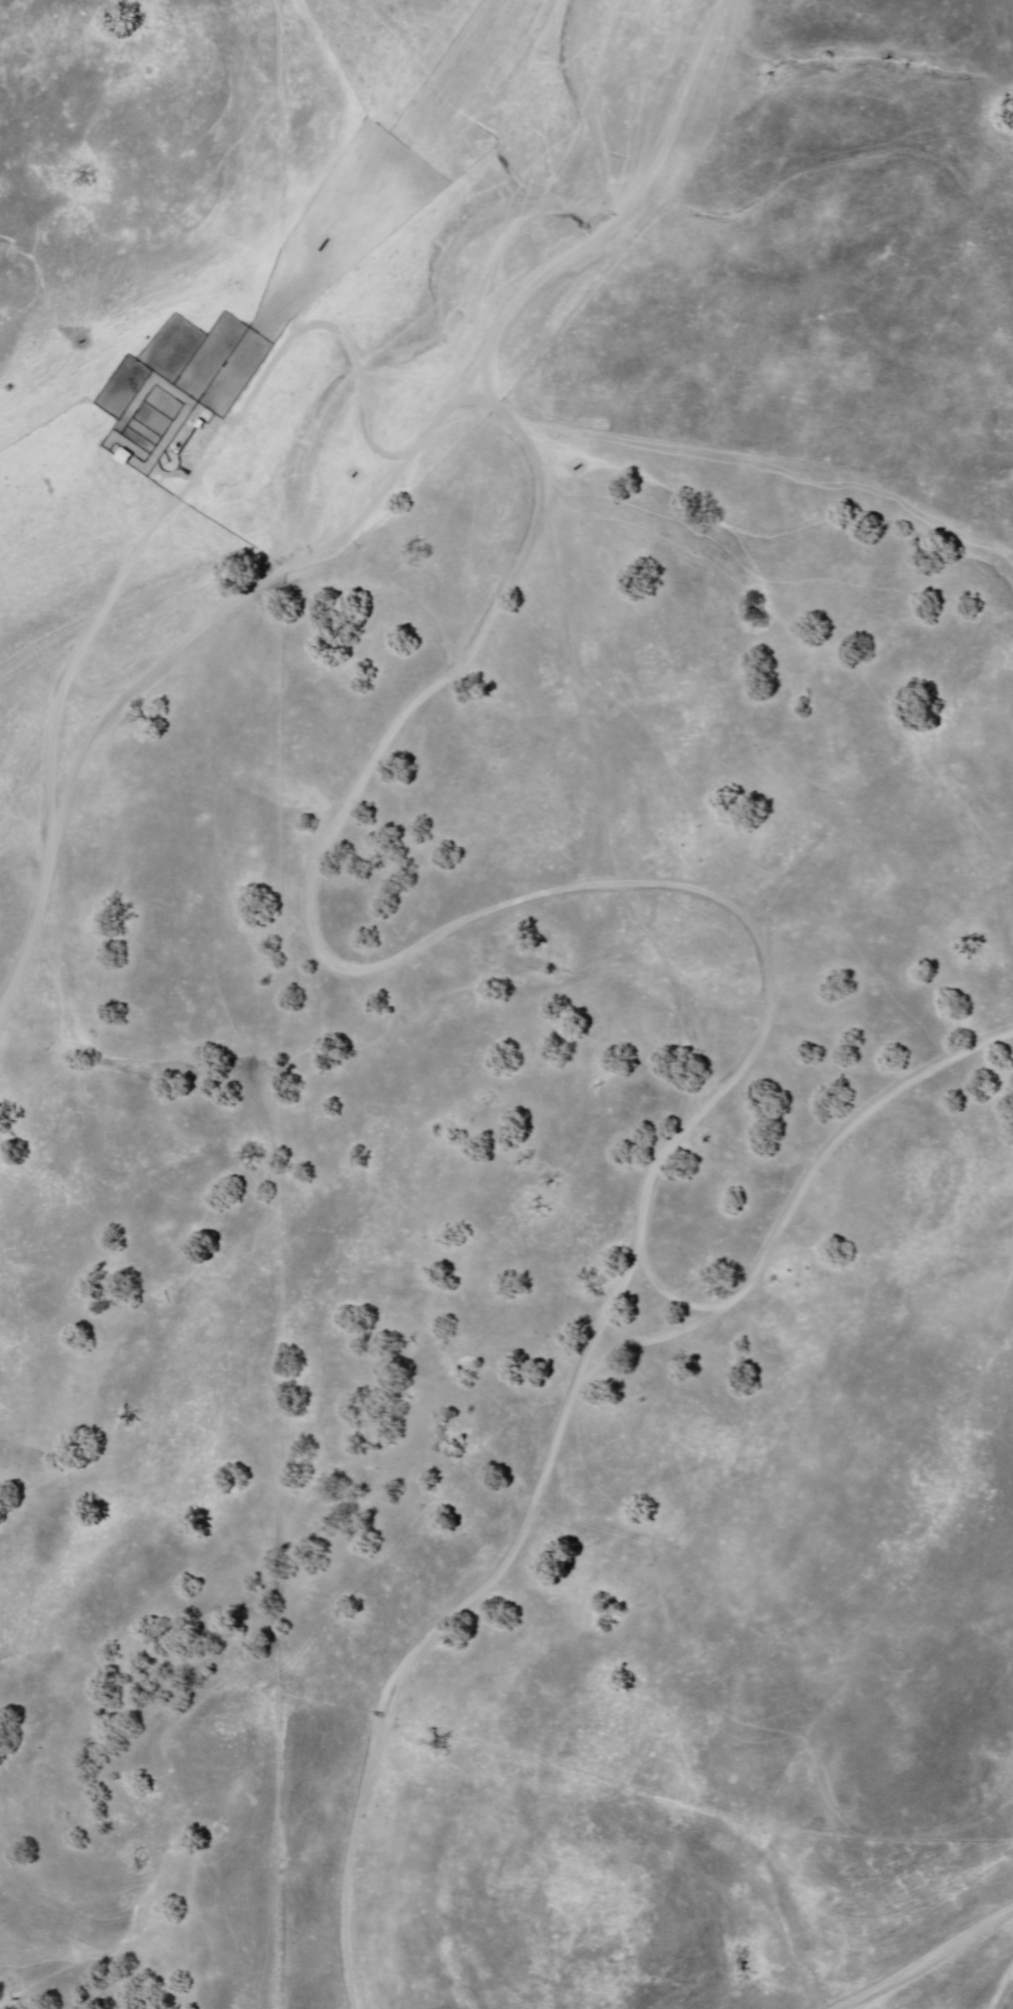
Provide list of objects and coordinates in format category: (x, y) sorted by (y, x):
building: (121, 456)
road: (362, 511)
road: (446, 942)
road: (556, 1433)
road: (919, 1959)

